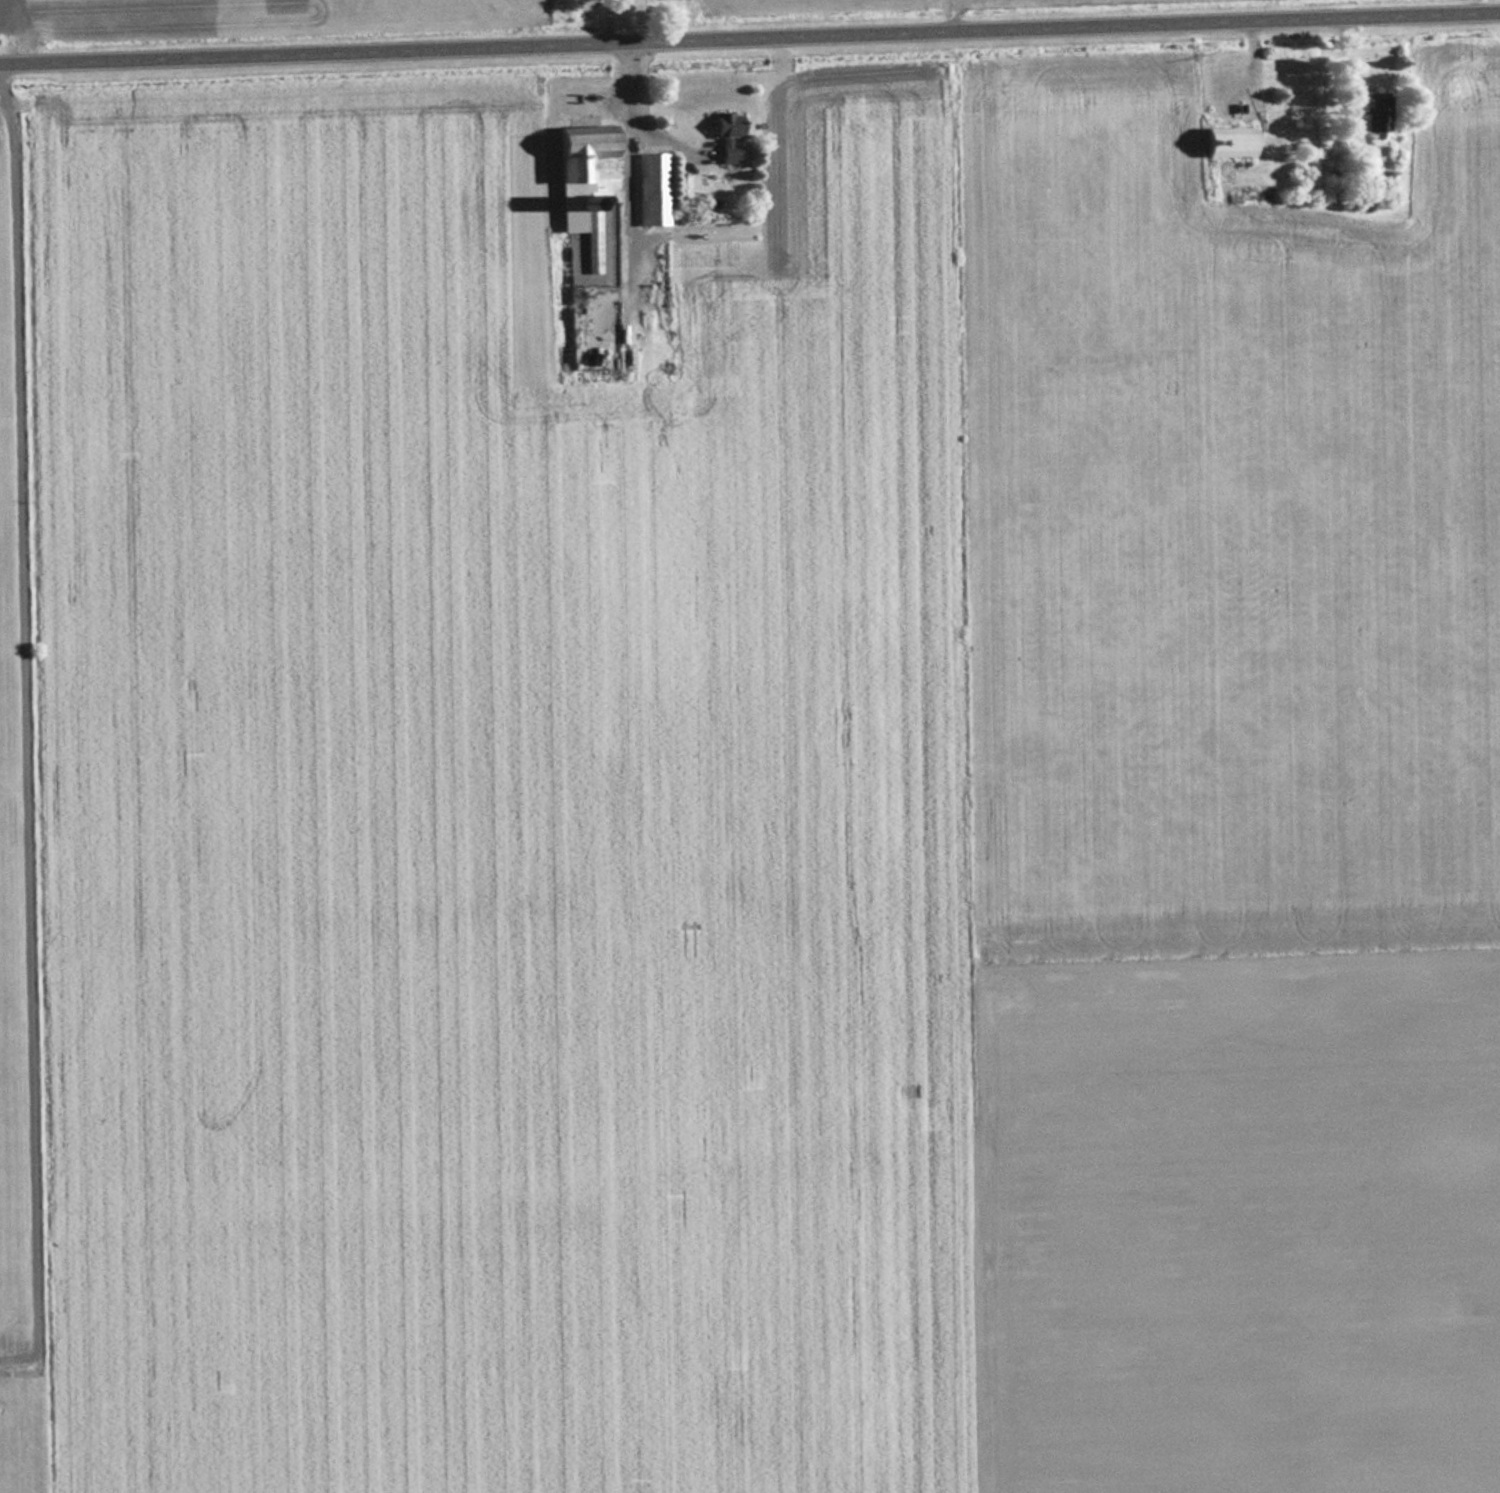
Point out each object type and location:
road: (750, 34)
building: (1374, 113)
building: (726, 135)
building: (1227, 141)
building: (586, 168)
building: (652, 189)
road: (33, 727)

